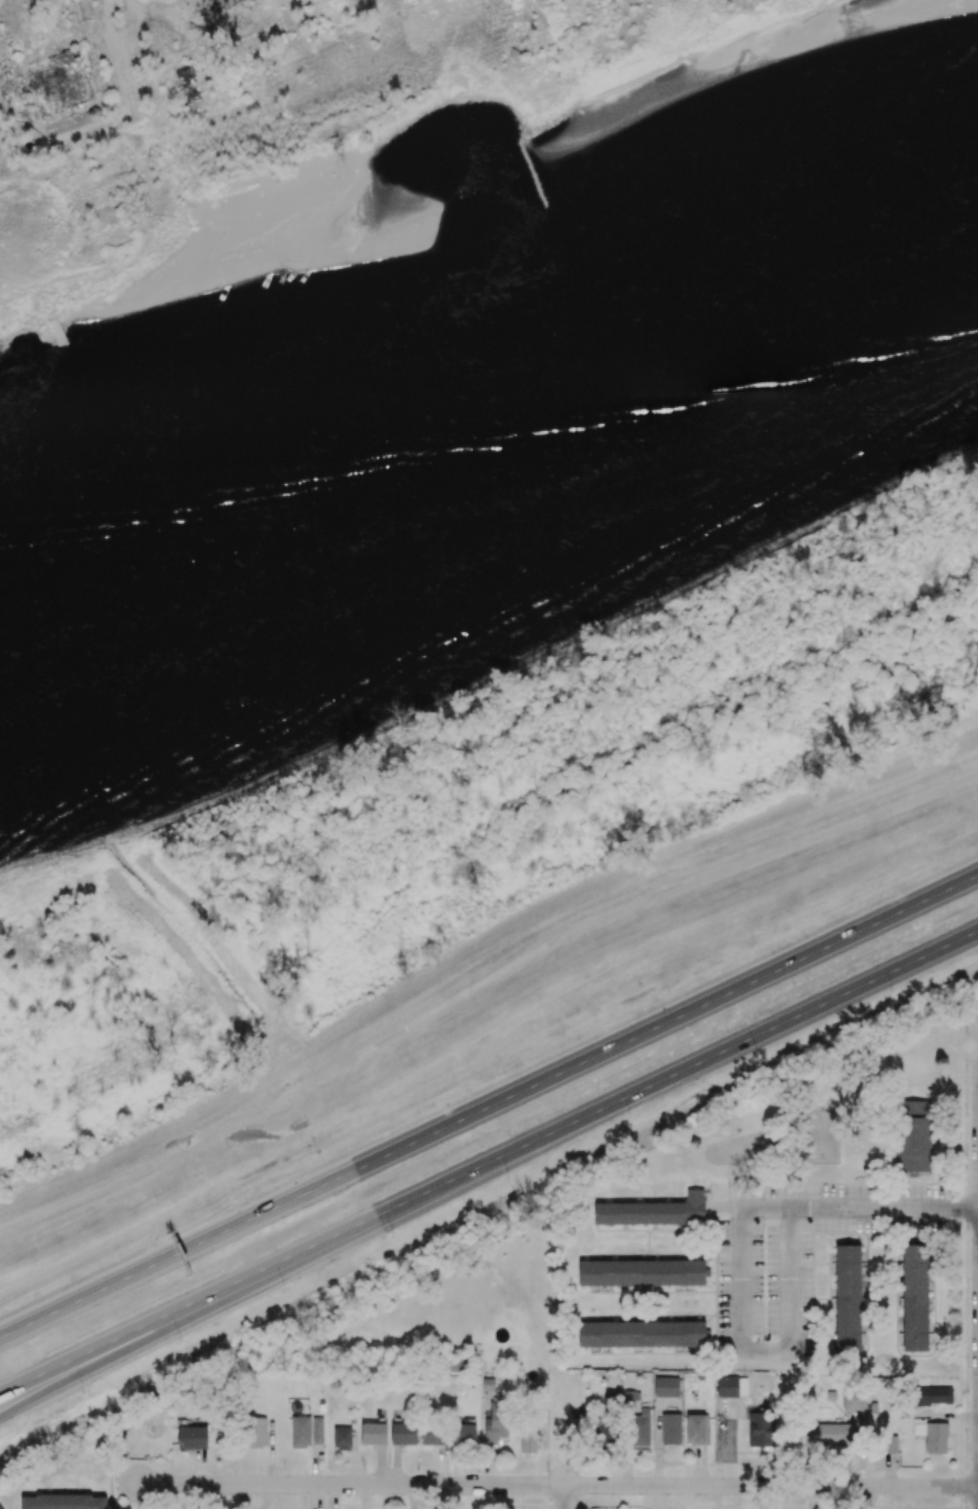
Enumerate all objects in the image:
building: (59, 83)
building: (187, 83)
park: (347, 139)
river: (499, 441)
river: (140, 626)
road: (479, 987)
road: (489, 1105)
building: (913, 1137)
road: (488, 1165)
road: (883, 1207)
building: (653, 1211)
building: (642, 1273)
building: (847, 1297)
building: (914, 1298)
building: (642, 1334)
road: (739, 1351)
building: (666, 1387)
building: (732, 1387)
building: (933, 1396)
building: (631, 1397)
building: (853, 1400)
building: (496, 1423)
building: (670, 1427)
building: (640, 1428)
building: (317, 1429)
building: (759, 1429)
building: (697, 1430)
building: (300, 1431)
building: (373, 1431)
building: (257, 1432)
building: (403, 1434)
building: (463, 1434)
building: (830, 1434)
building: (433, 1435)
building: (603, 1436)
building: (192, 1438)
building: (342, 1438)
building: (936, 1438)
building: (889, 1444)
road: (557, 1485)
road: (564, 1486)
building: (63, 1502)
building: (0, 1507)

